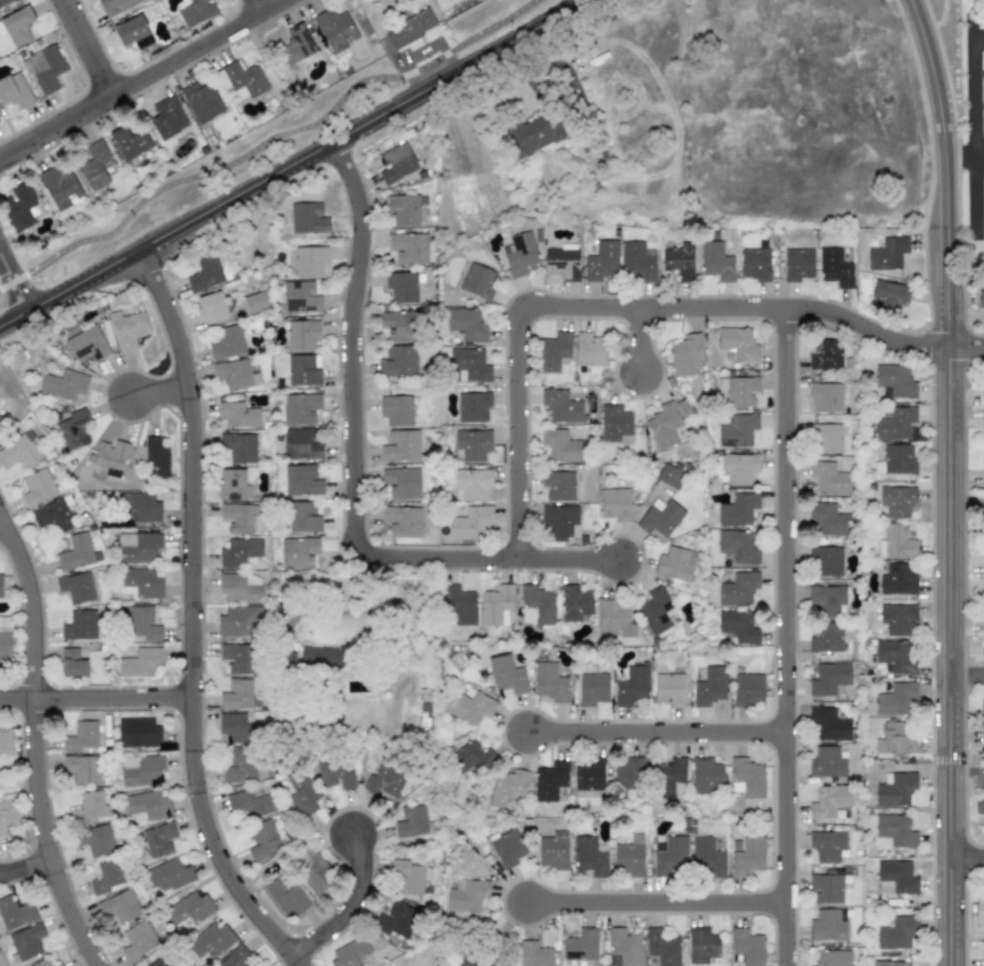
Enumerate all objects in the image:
building: (4, 2)
road: (264, 3)
building: (114, 6)
building: (196, 11)
building: (17, 26)
building: (409, 29)
building: (335, 30)
building: (133, 32)
road: (979, 34)
road: (97, 44)
building: (297, 44)
building: (44, 68)
road: (139, 77)
building: (241, 80)
building: (14, 90)
building: (201, 101)
building: (168, 118)
road: (974, 130)
building: (534, 133)
road: (266, 141)
building: (130, 143)
park: (251, 148)
road: (964, 156)
building: (395, 162)
road: (289, 163)
building: (95, 164)
building: (60, 187)
building: (19, 206)
building: (403, 209)
building: (983, 214)
building: (307, 218)
building: (409, 247)
building: (887, 253)
building: (520, 254)
building: (678, 259)
building: (602, 260)
building: (308, 261)
building: (637, 261)
building: (715, 261)
building: (563, 262)
building: (754, 264)
building: (797, 264)
building: (834, 267)
building: (205, 273)
building: (477, 281)
road: (13, 282)
building: (401, 286)
building: (981, 293)
building: (889, 295)
building: (300, 296)
building: (255, 302)
building: (212, 305)
road: (627, 306)
building: (466, 323)
building: (398, 325)
building: (127, 328)
building: (301, 333)
road: (639, 338)
building: (227, 342)
building: (737, 343)
building: (87, 344)
building: (589, 350)
building: (553, 351)
building: (685, 354)
building: (825, 354)
building: (398, 361)
building: (469, 364)
building: (303, 369)
road: (907, 373)
building: (240, 374)
building: (894, 381)
building: (64, 384)
road: (158, 390)
building: (738, 390)
building: (983, 393)
building: (826, 397)
building: (473, 406)
building: (561, 406)
building: (300, 408)
building: (682, 408)
building: (396, 410)
building: (238, 414)
building: (1, 421)
building: (895, 423)
building: (983, 423)
building: (615, 424)
building: (663, 425)
building: (73, 429)
building: (737, 430)
building: (825, 438)
building: (301, 443)
building: (471, 445)
building: (559, 445)
building: (238, 446)
building: (400, 446)
building: (20, 451)
building: (112, 456)
building: (155, 457)
building: (896, 459)
building: (739, 468)
building: (983, 469)
building: (671, 474)
road: (353, 477)
building: (828, 478)
building: (301, 480)
road: (947, 480)
building: (401, 482)
building: (233, 484)
building: (471, 484)
building: (558, 485)
building: (37, 487)
building: (897, 500)
building: (615, 504)
building: (138, 508)
building: (737, 509)
building: (54, 514)
building: (238, 517)
building: (302, 517)
building: (660, 517)
building: (828, 519)
building: (402, 521)
building: (560, 521)
building: (470, 522)
building: (896, 542)
building: (738, 546)
building: (137, 547)
building: (77, 552)
building: (298, 552)
building: (237, 553)
building: (983, 560)
building: (825, 561)
building: (675, 564)
building: (897, 579)
building: (0, 583)
building: (139, 583)
building: (76, 587)
building: (240, 588)
building: (983, 588)
building: (737, 589)
building: (827, 601)
building: (575, 602)
building: (496, 604)
building: (538, 604)
building: (458, 605)
building: (655, 610)
road: (191, 617)
building: (896, 617)
building: (614, 618)
building: (238, 620)
building: (142, 623)
building: (82, 625)
building: (737, 627)
building: (983, 634)
road: (784, 637)
building: (826, 637)
building: (5, 645)
building: (323, 657)
building: (894, 657)
building: (237, 658)
building: (72, 662)
building: (140, 662)
building: (506, 674)
road: (966, 674)
building: (829, 678)
building: (550, 682)
building: (710, 686)
building: (632, 687)
building: (593, 688)
building: (748, 688)
building: (669, 689)
building: (237, 694)
road: (96, 698)
building: (895, 699)
building: (470, 706)
building: (982, 721)
building: (829, 724)
building: (238, 728)
building: (138, 731)
road: (654, 731)
building: (81, 736)
road: (35, 738)
building: (895, 738)
building: (5, 741)
building: (470, 758)
building: (826, 762)
building: (240, 764)
building: (82, 768)
building: (140, 770)
building: (335, 773)
building: (589, 776)
building: (629, 776)
building: (706, 776)
building: (669, 777)
building: (747, 778)
building: (550, 780)
building: (383, 781)
building: (507, 788)
building: (895, 788)
building: (302, 793)
building: (829, 801)
building: (147, 804)
building: (248, 804)
building: (89, 806)
building: (981, 806)
building: (7, 811)
building: (411, 821)
building: (895, 830)
building: (158, 838)
building: (95, 839)
building: (263, 840)
building: (827, 845)
building: (507, 846)
building: (553, 850)
building: (670, 855)
building: (589, 856)
building: (629, 856)
building: (748, 856)
road: (966, 856)
building: (706, 857)
road: (25, 864)
building: (314, 870)
building: (168, 875)
building: (106, 876)
building: (410, 877)
building: (895, 877)
building: (826, 888)
building: (467, 895)
road: (654, 901)
road: (350, 904)
building: (120, 906)
building: (979, 908)
building: (189, 909)
building: (15, 912)
building: (395, 921)
building: (826, 926)
building: (897, 932)
building: (138, 940)
building: (211, 941)
building: (26, 942)
building: (580, 945)
building: (702, 945)
building: (747, 946)
building: (662, 947)
building: (623, 948)
building: (349, 952)
building: (535, 954)
building: (235, 958)
building: (833, 958)
building: (161, 961)
building: (468, 962)
building: (42, 963)
building: (891, 963)
building: (983, 964)
building: (60, 965)

